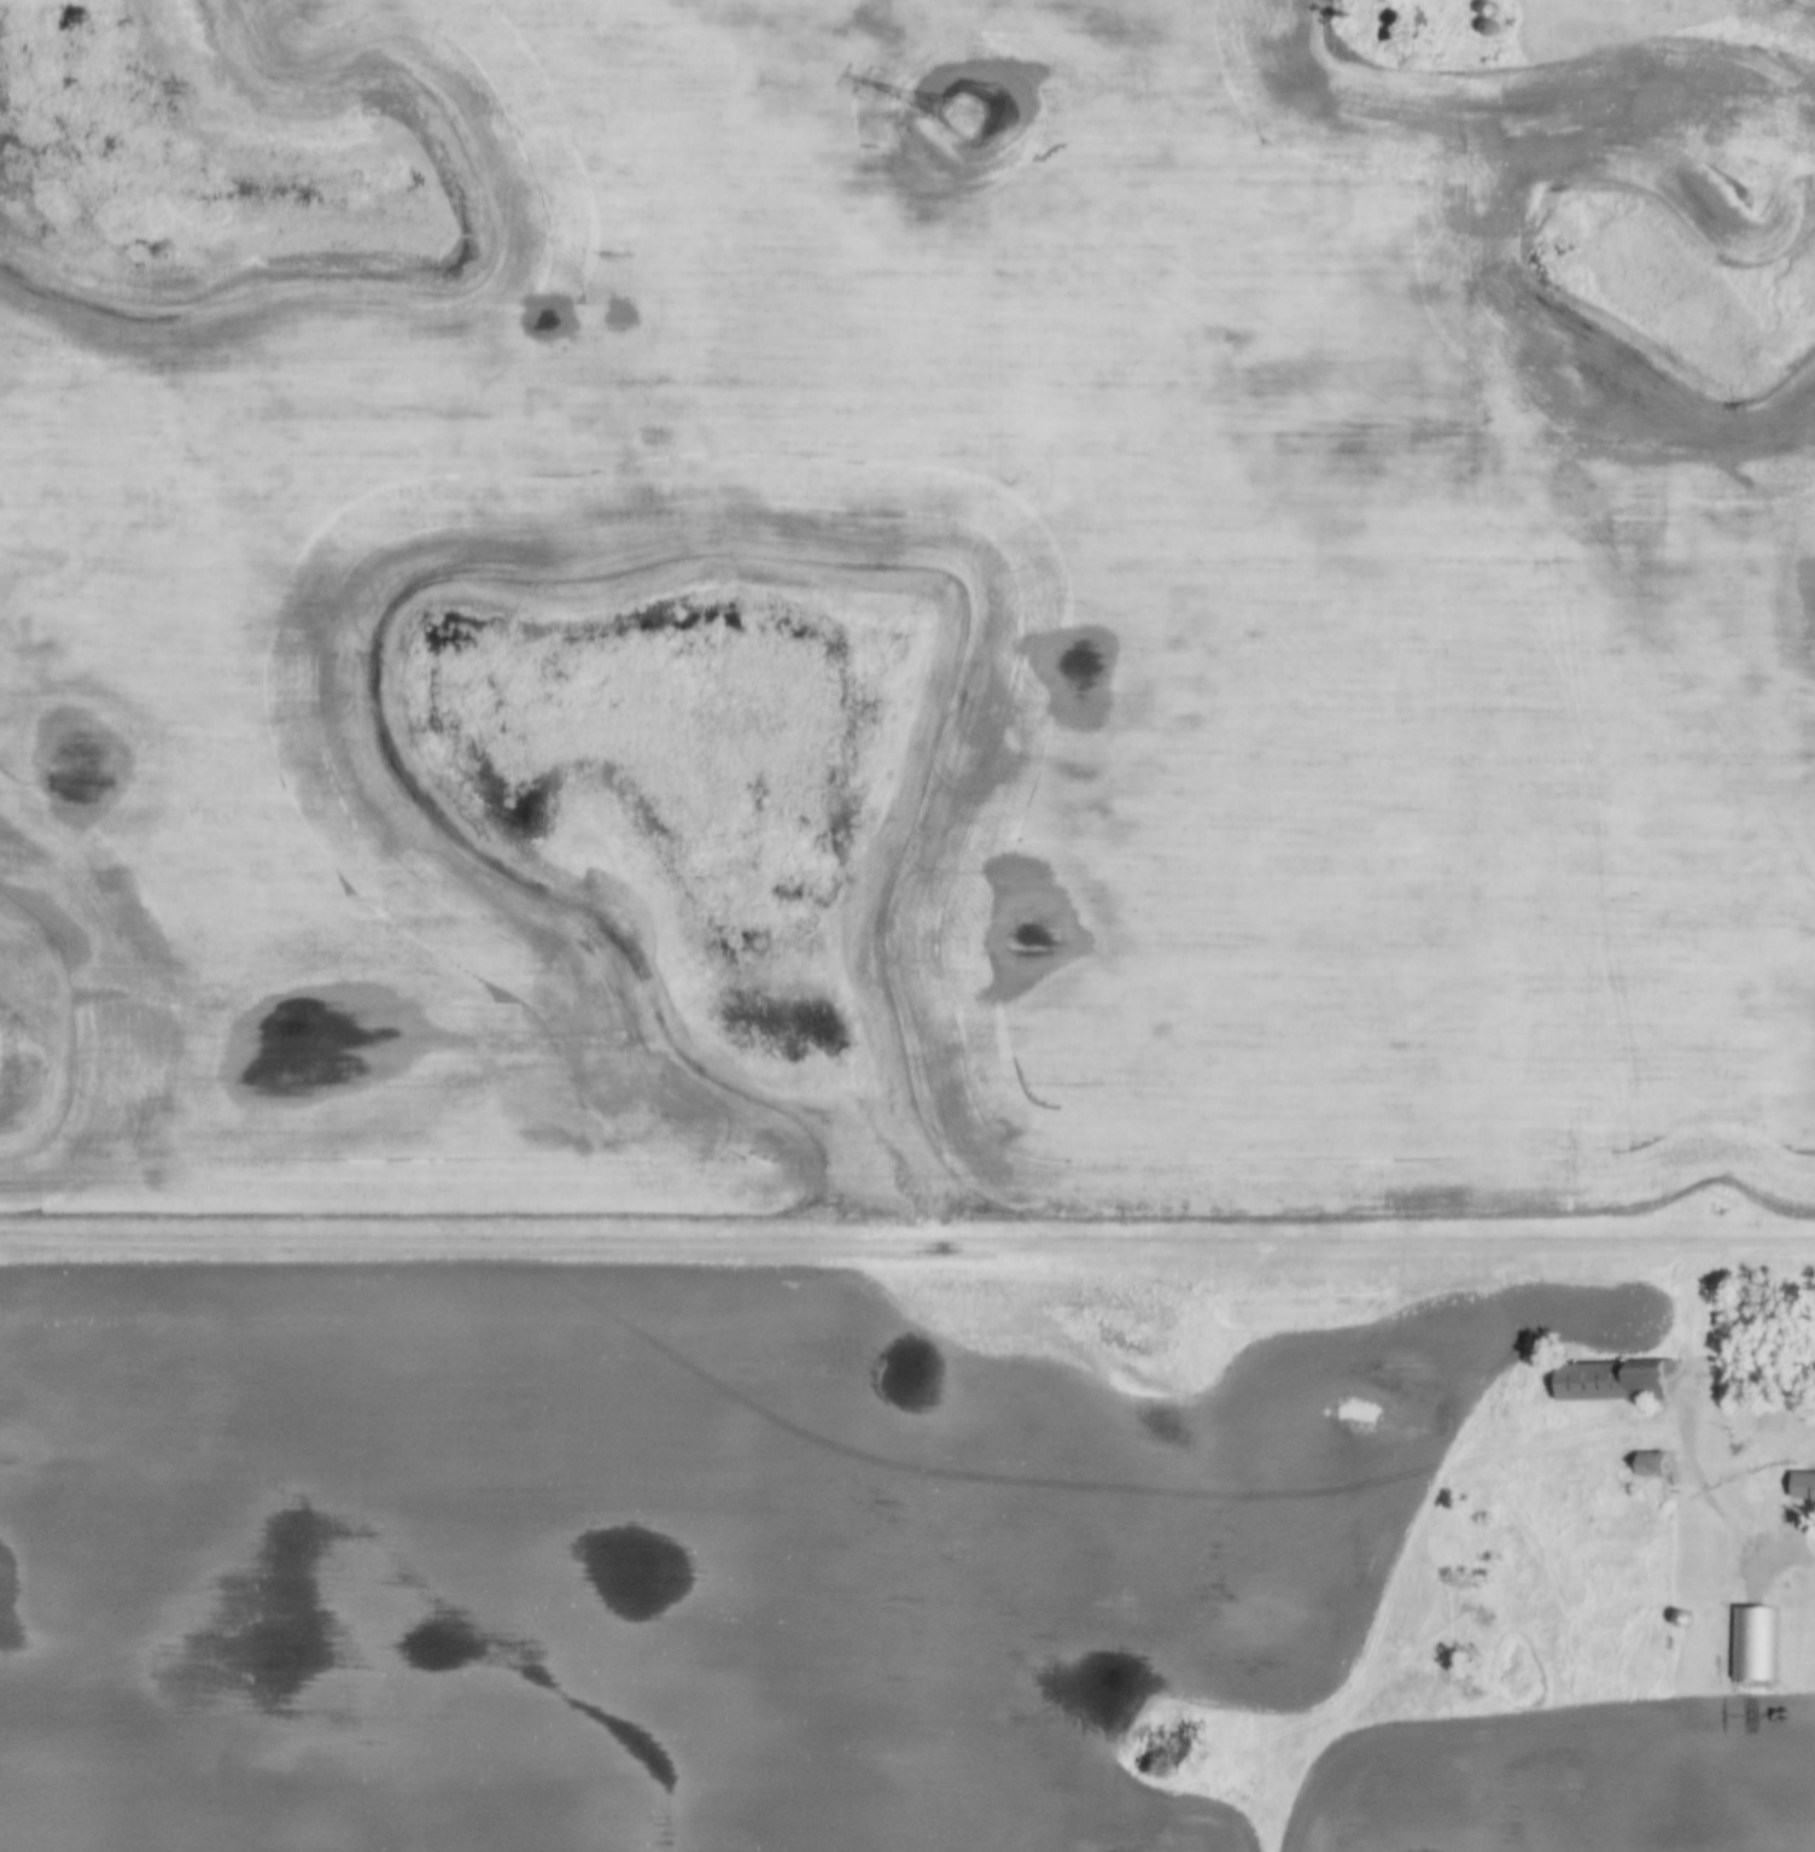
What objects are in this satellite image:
power tower: (967, 116)
road: (907, 1245)
building: (1611, 1383)
building: (1651, 1465)
building: (1803, 1492)
road: (1720, 1507)
building: (1749, 1644)

